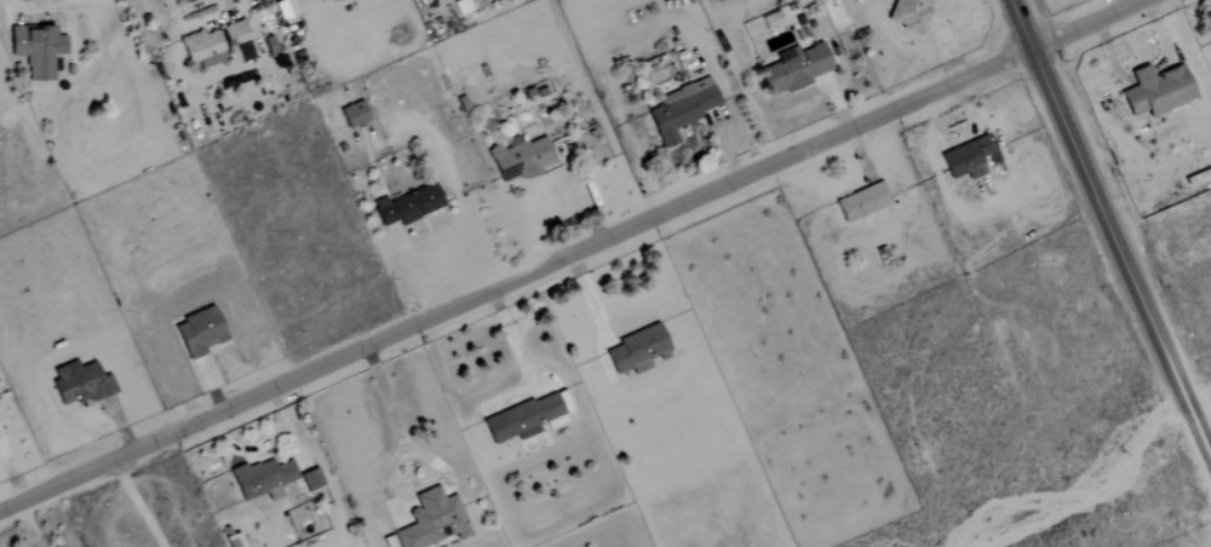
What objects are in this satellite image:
road: (228, 6)
building: (461, 7)
road: (184, 8)
building: (285, 12)
building: (908, 15)
building: (770, 21)
building: (1210, 34)
building: (217, 45)
building: (36, 51)
building: (793, 69)
building: (1157, 91)
building: (679, 111)
building: (354, 116)
building: (520, 159)
building: (969, 159)
building: (861, 202)
building: (407, 206)
road: (1110, 228)
road: (572, 254)
building: (637, 350)
building: (80, 384)
road: (400, 432)
road: (432, 460)
building: (262, 479)
building: (310, 479)
road: (137, 503)
building: (432, 520)
building: (234, 540)
building: (388, 541)

